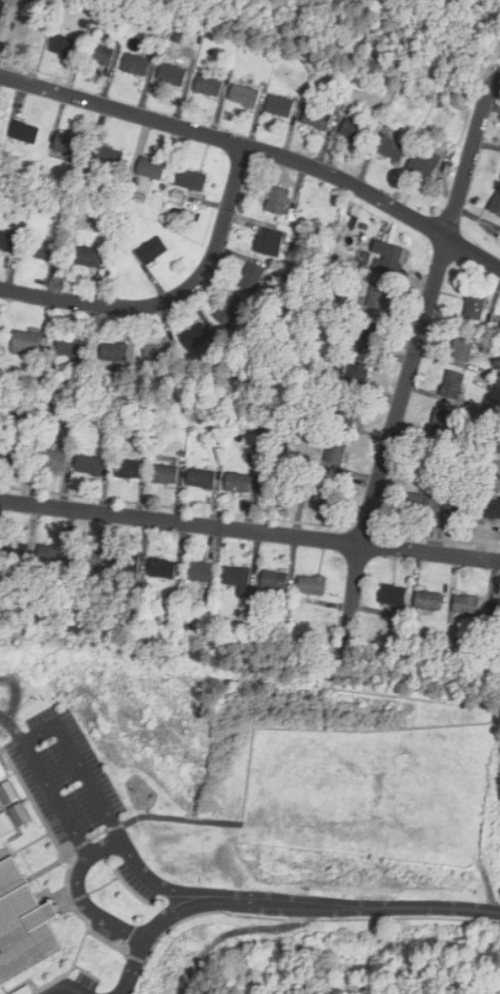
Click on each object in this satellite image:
building: (2, 9)
building: (64, 46)
park: (486, 53)
building: (100, 54)
building: (136, 64)
building: (171, 74)
building: (209, 85)
building: (244, 95)
building: (280, 106)
building: (317, 118)
building: (25, 131)
building: (354, 131)
building: (68, 143)
building: (392, 148)
road: (258, 149)
building: (108, 156)
building: (425, 164)
building: (151, 168)
building: (192, 180)
building: (278, 201)
building: (496, 203)
building: (7, 242)
building: (269, 242)
building: (42, 250)
building: (152, 250)
building: (388, 254)
building: (88, 256)
building: (252, 279)
building: (379, 295)
road: (172, 297)
building: (474, 307)
building: (229, 313)
building: (0, 329)
building: (368, 335)
building: (195, 336)
building: (26, 343)
building: (70, 347)
building: (463, 347)
building: (159, 350)
building: (115, 352)
road: (412, 360)
building: (357, 375)
building: (453, 384)
building: (348, 411)
building: (443, 422)
building: (336, 451)
building: (17, 456)
building: (53, 461)
building: (90, 466)
building: (127, 469)
building: (165, 475)
building: (201, 479)
building: (239, 483)
building: (323, 498)
building: (417, 503)
building: (457, 505)
building: (493, 509)
road: (250, 529)
building: (14, 550)
building: (54, 554)
building: (88, 559)
building: (127, 563)
building: (163, 568)
building: (200, 572)
building: (237, 579)
building: (274, 580)
building: (312, 585)
building: (392, 595)
building: (429, 601)
building: (466, 605)
building: (495, 609)
road: (435, 726)
road: (29, 739)
building: (2, 772)
building: (8, 792)
park: (365, 797)
building: (0, 806)
building: (19, 814)
road: (176, 819)
building: (5, 824)
road: (114, 826)
road: (96, 834)
road: (80, 845)
road: (103, 847)
road: (80, 898)
road: (286, 904)
road: (77, 911)
road: (313, 920)
building: (23, 924)
road: (138, 957)

